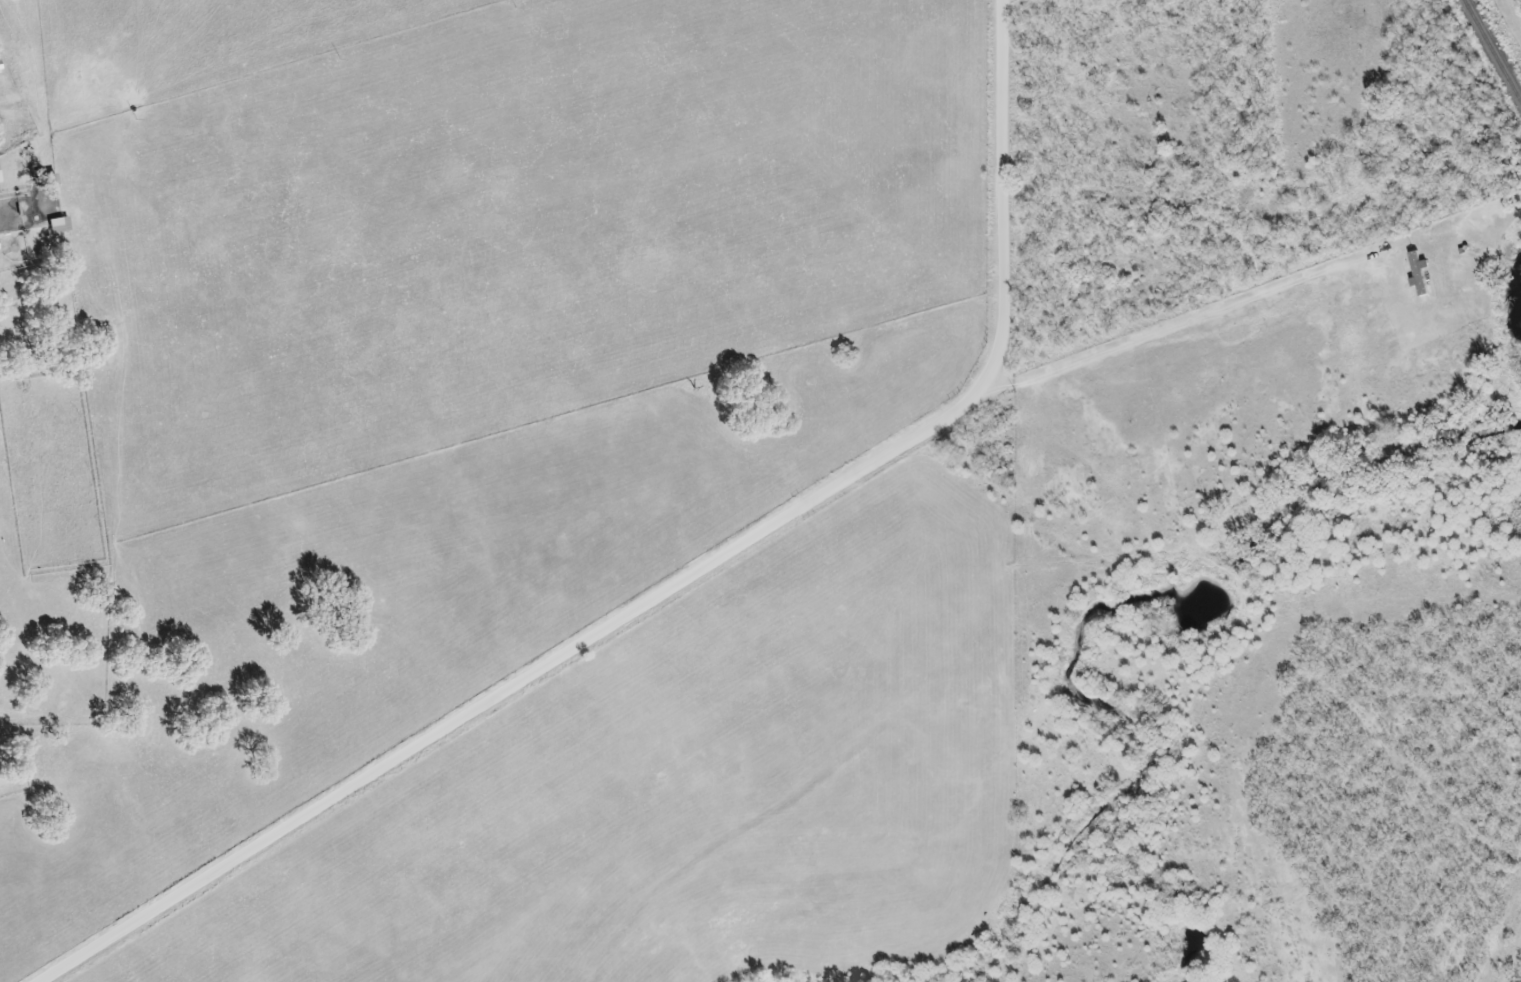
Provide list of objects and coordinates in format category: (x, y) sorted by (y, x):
railway: (1489, 59)
building: (57, 227)
building: (1418, 286)
road: (1196, 317)
road: (683, 582)

